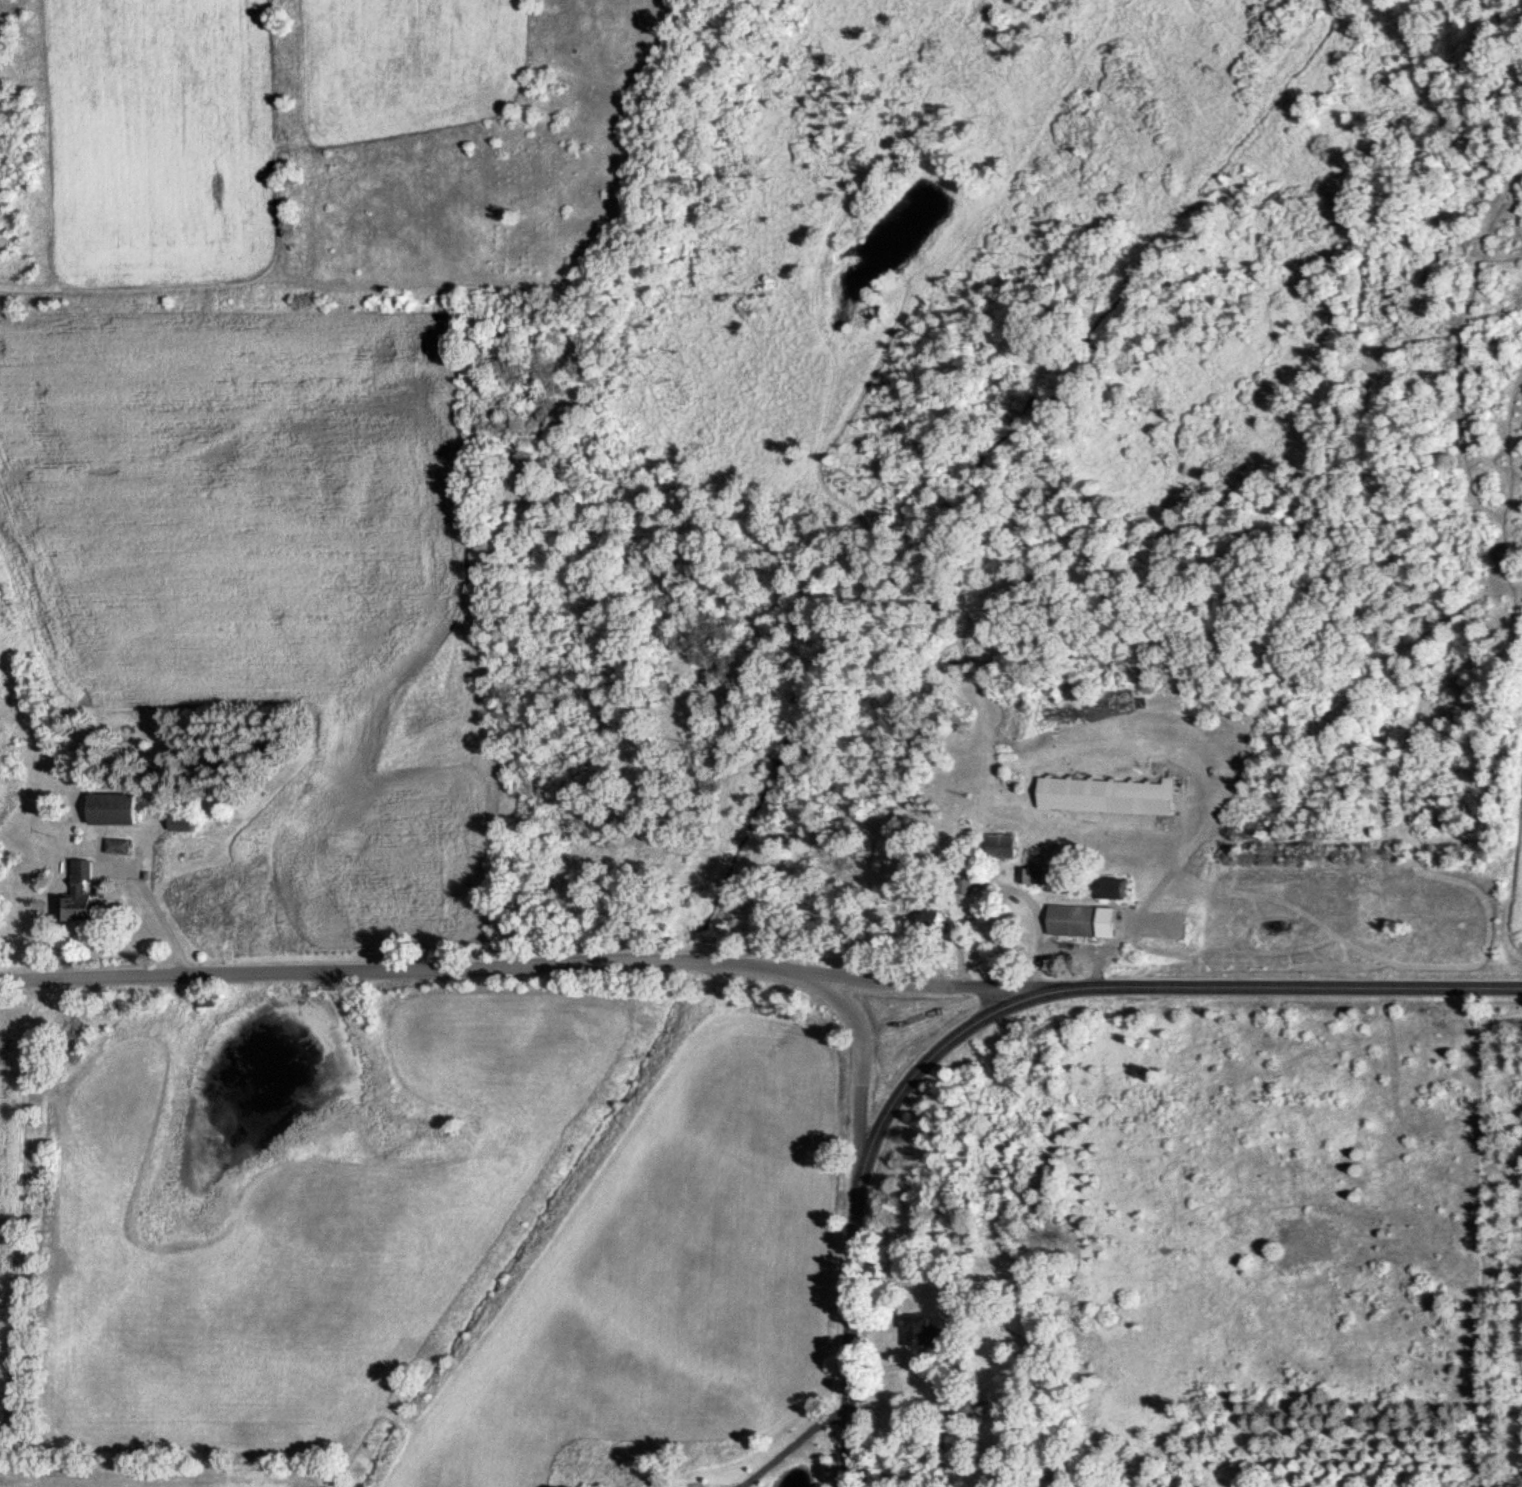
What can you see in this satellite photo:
building: (1102, 797)
building: (108, 810)
building: (174, 825)
building: (113, 847)
building: (995, 848)
building: (960, 888)
road: (1002, 888)
building: (1102, 889)
building: (73, 897)
building: (207, 910)
road: (174, 916)
building: (926, 916)
building: (1069, 922)
road: (519, 960)
road: (991, 1003)
building: (62, 1038)
road: (862, 1074)
building: (918, 1335)
building: (961, 1409)
road: (795, 1447)

